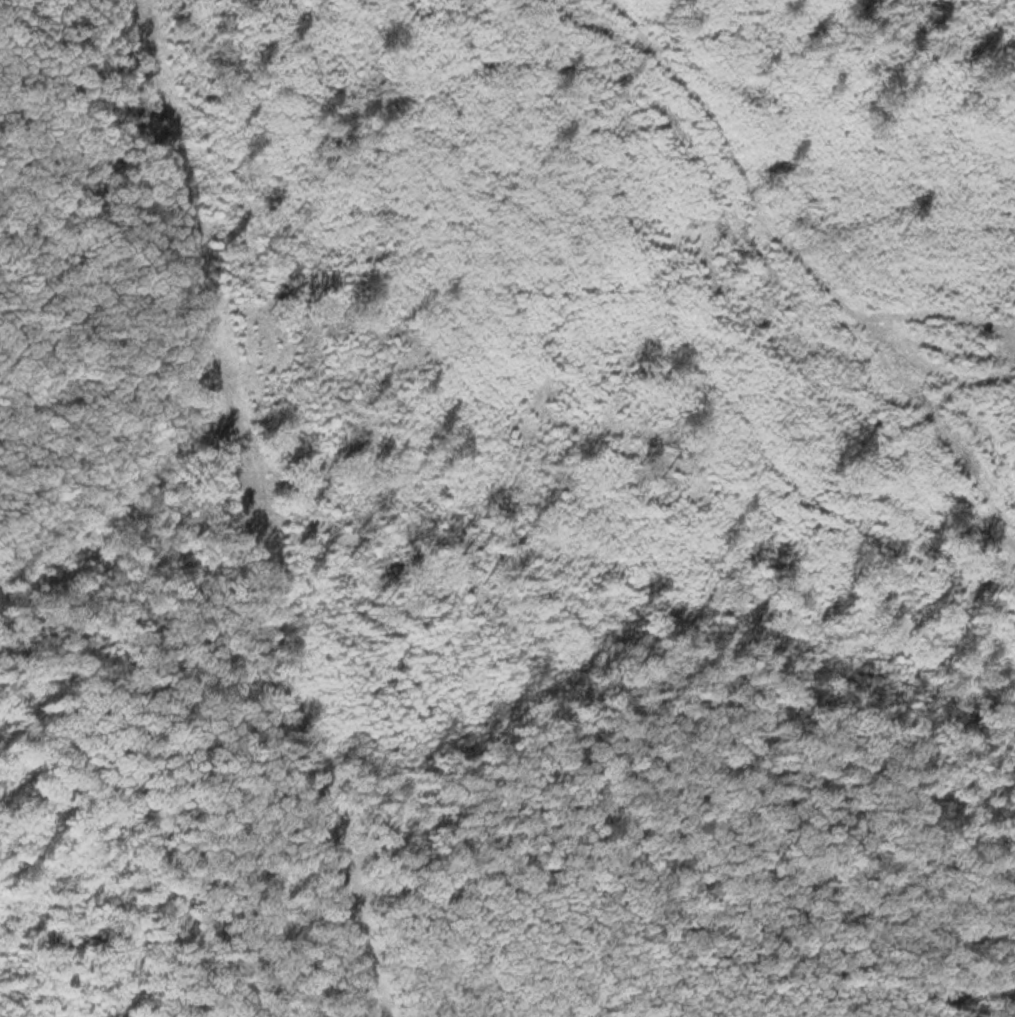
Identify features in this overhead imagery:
road: (261, 508)

